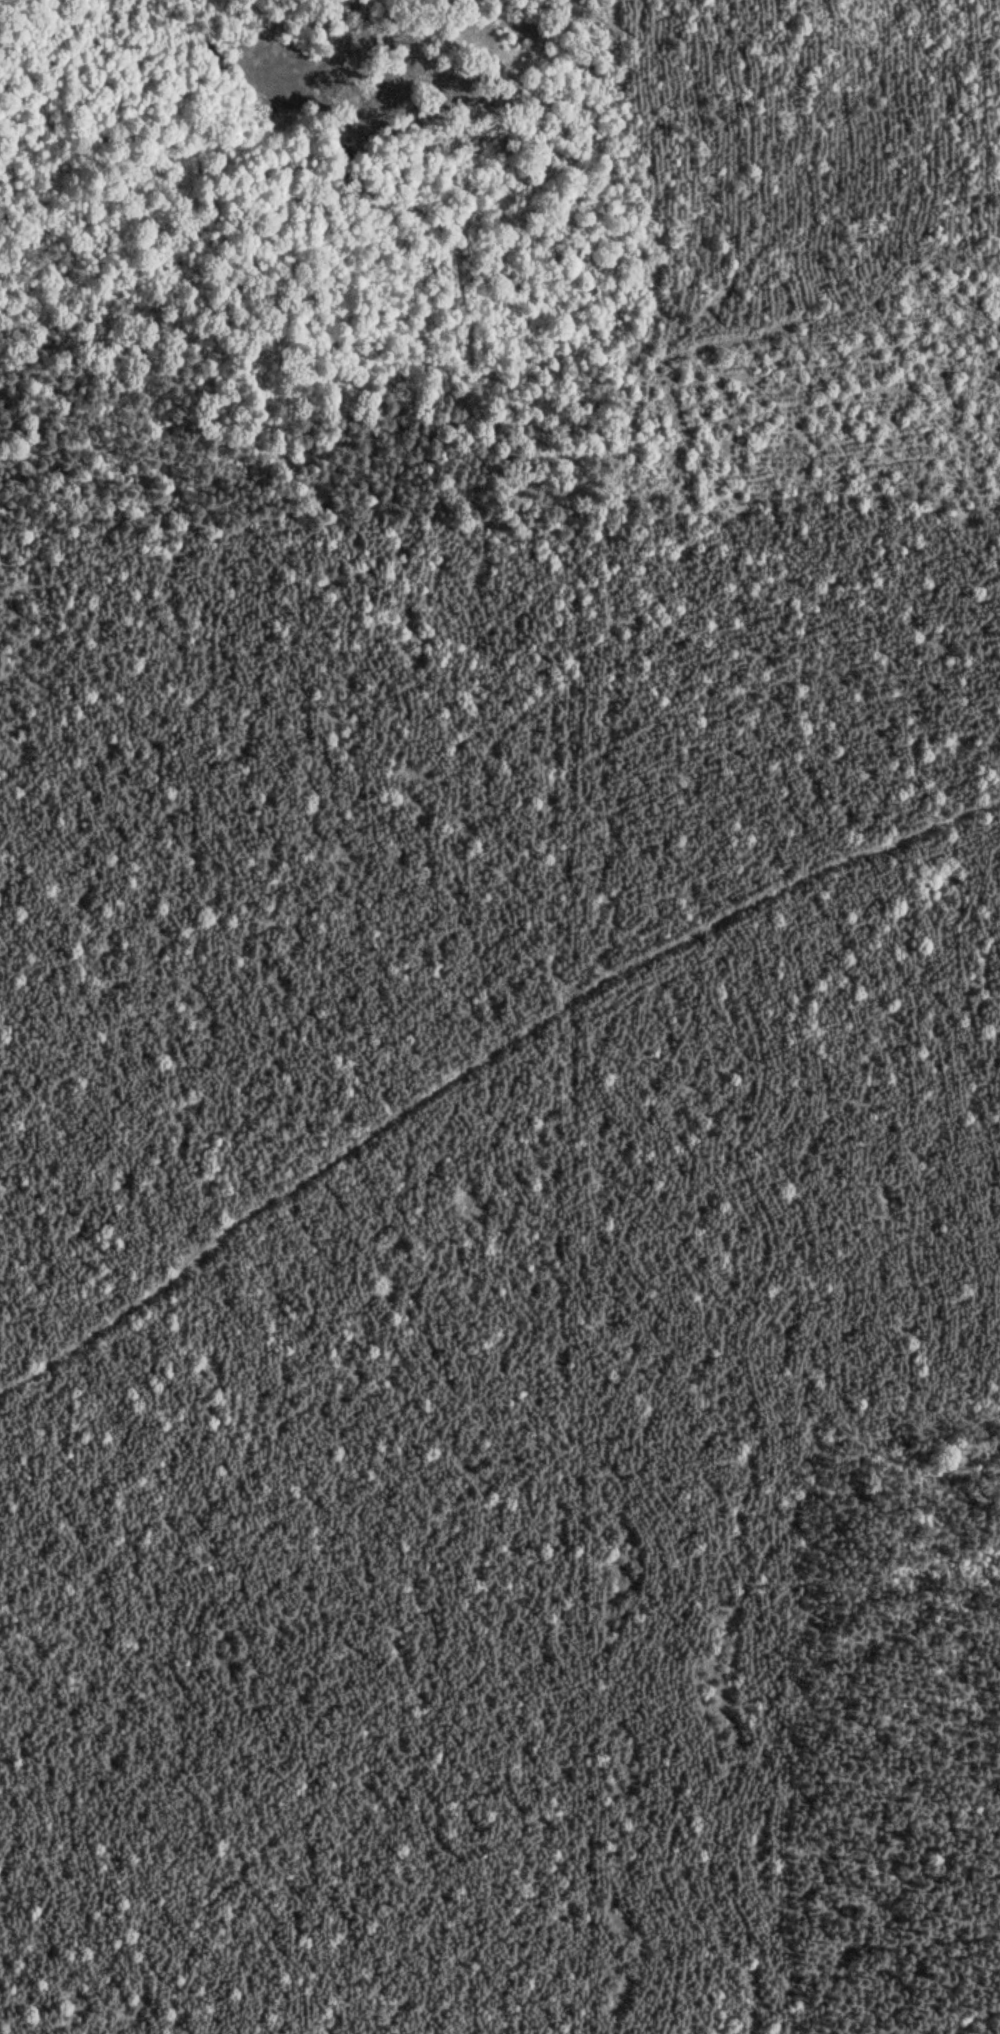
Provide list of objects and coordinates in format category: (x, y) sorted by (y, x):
road: (478, 1067)

